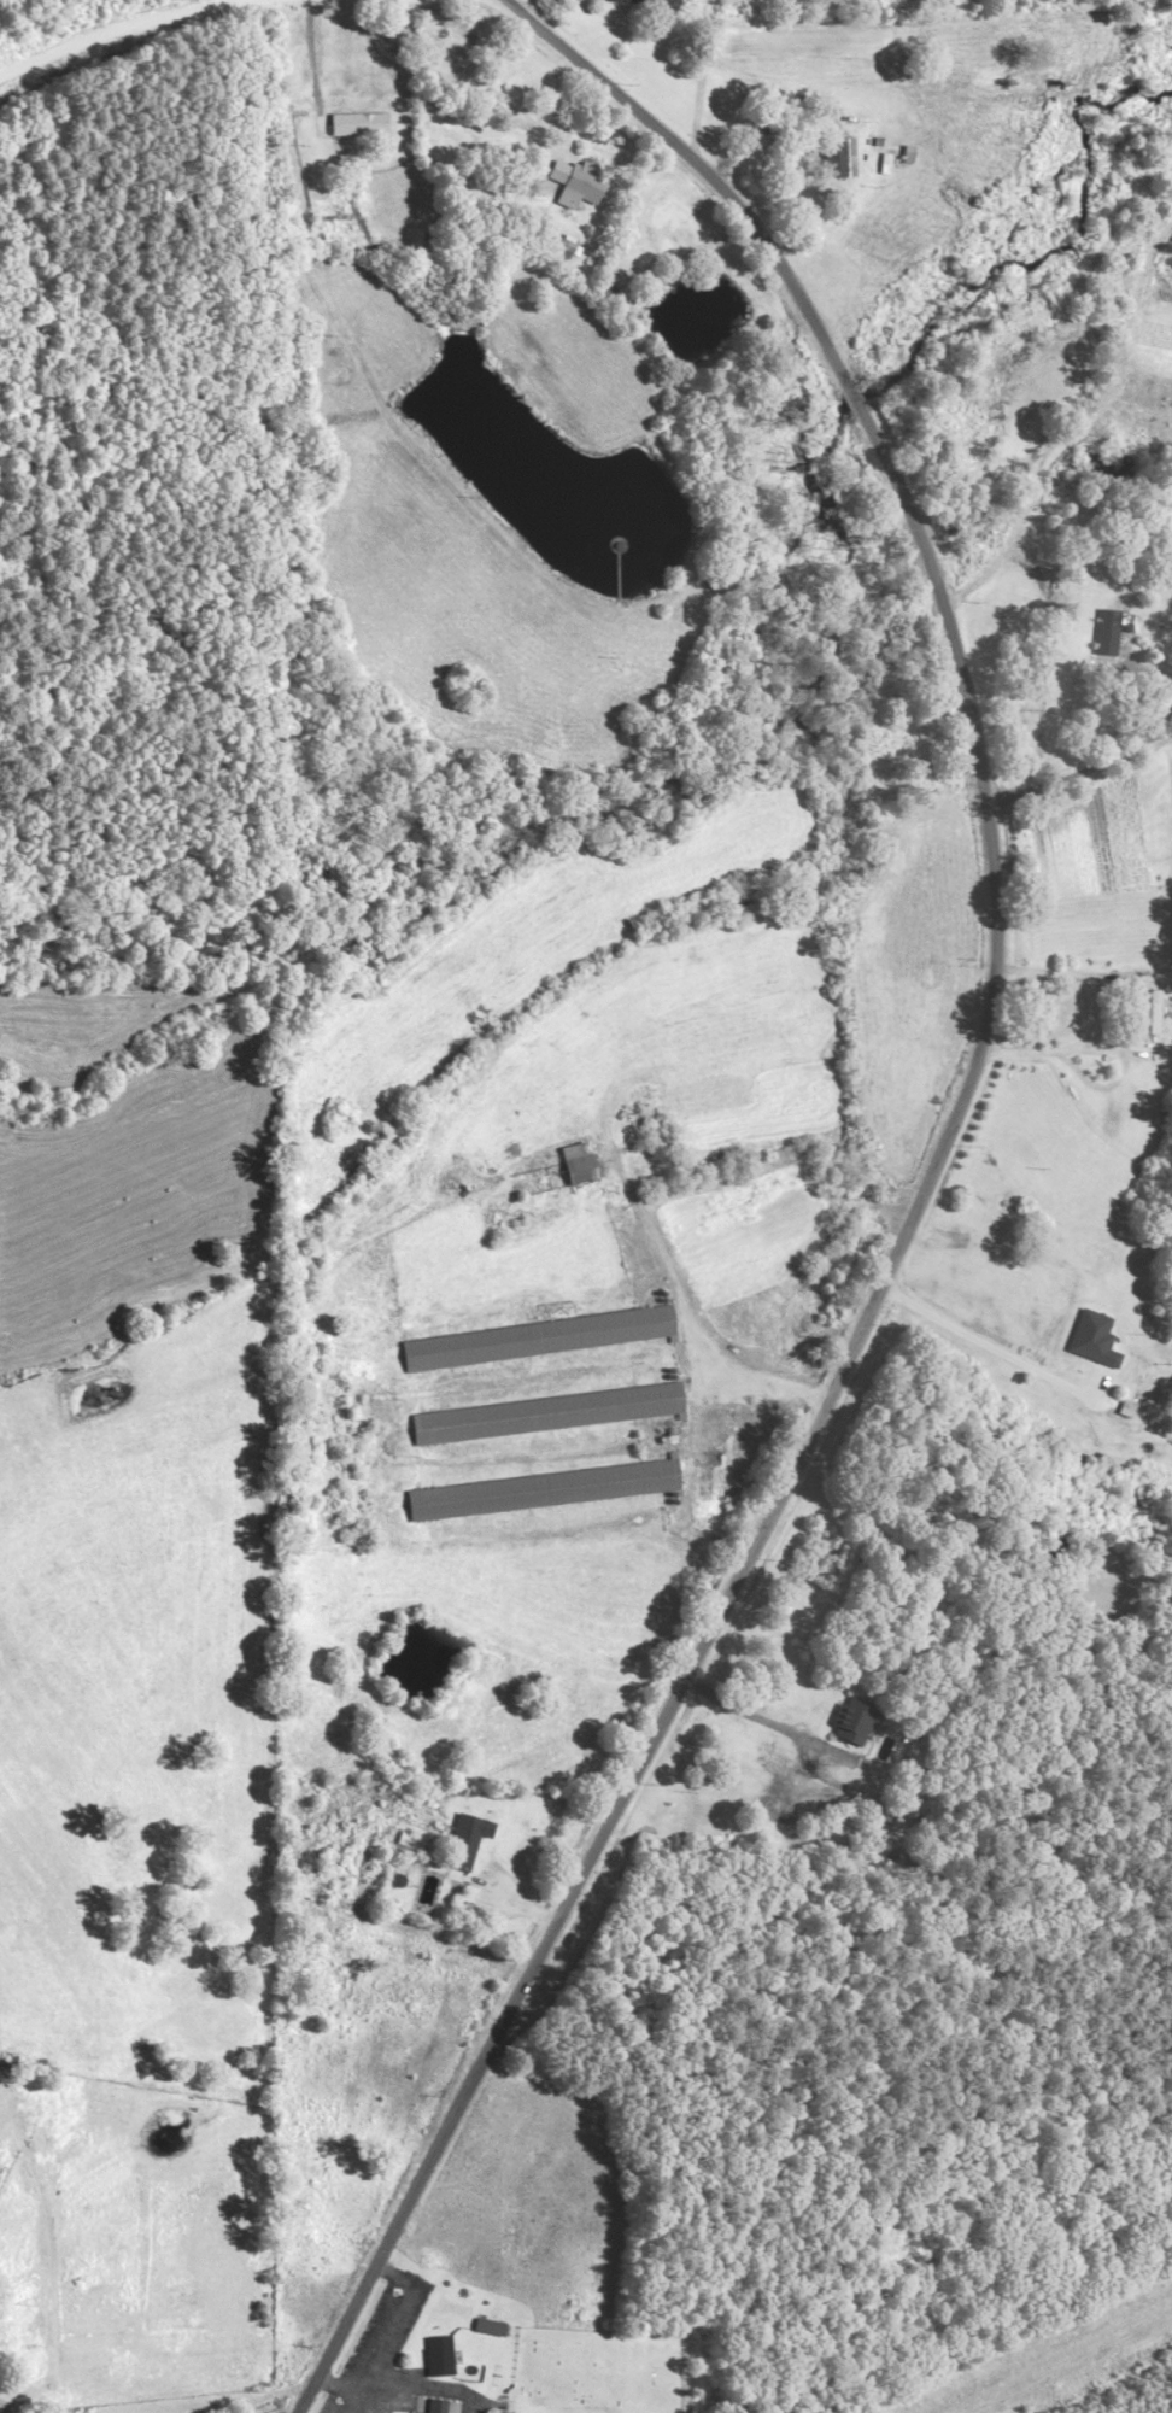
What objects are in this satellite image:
building: (625, 2)
road: (142, 25)
road: (566, 42)
building: (512, 119)
building: (357, 127)
building: (833, 156)
building: (578, 188)
building: (558, 253)
building: (1107, 634)
road: (1082, 775)
building: (1142, 1017)
building: (573, 1166)
road: (925, 1191)
building: (534, 1342)
building: (1135, 1408)
building: (543, 1417)
building: (539, 1494)
building: (849, 1726)
building: (878, 1815)
building: (463, 1845)
road: (392, 2317)
building: (484, 2330)
building: (432, 2358)
road: (346, 2385)
road: (417, 2385)
building: (436, 2405)
building: (418, 2412)

